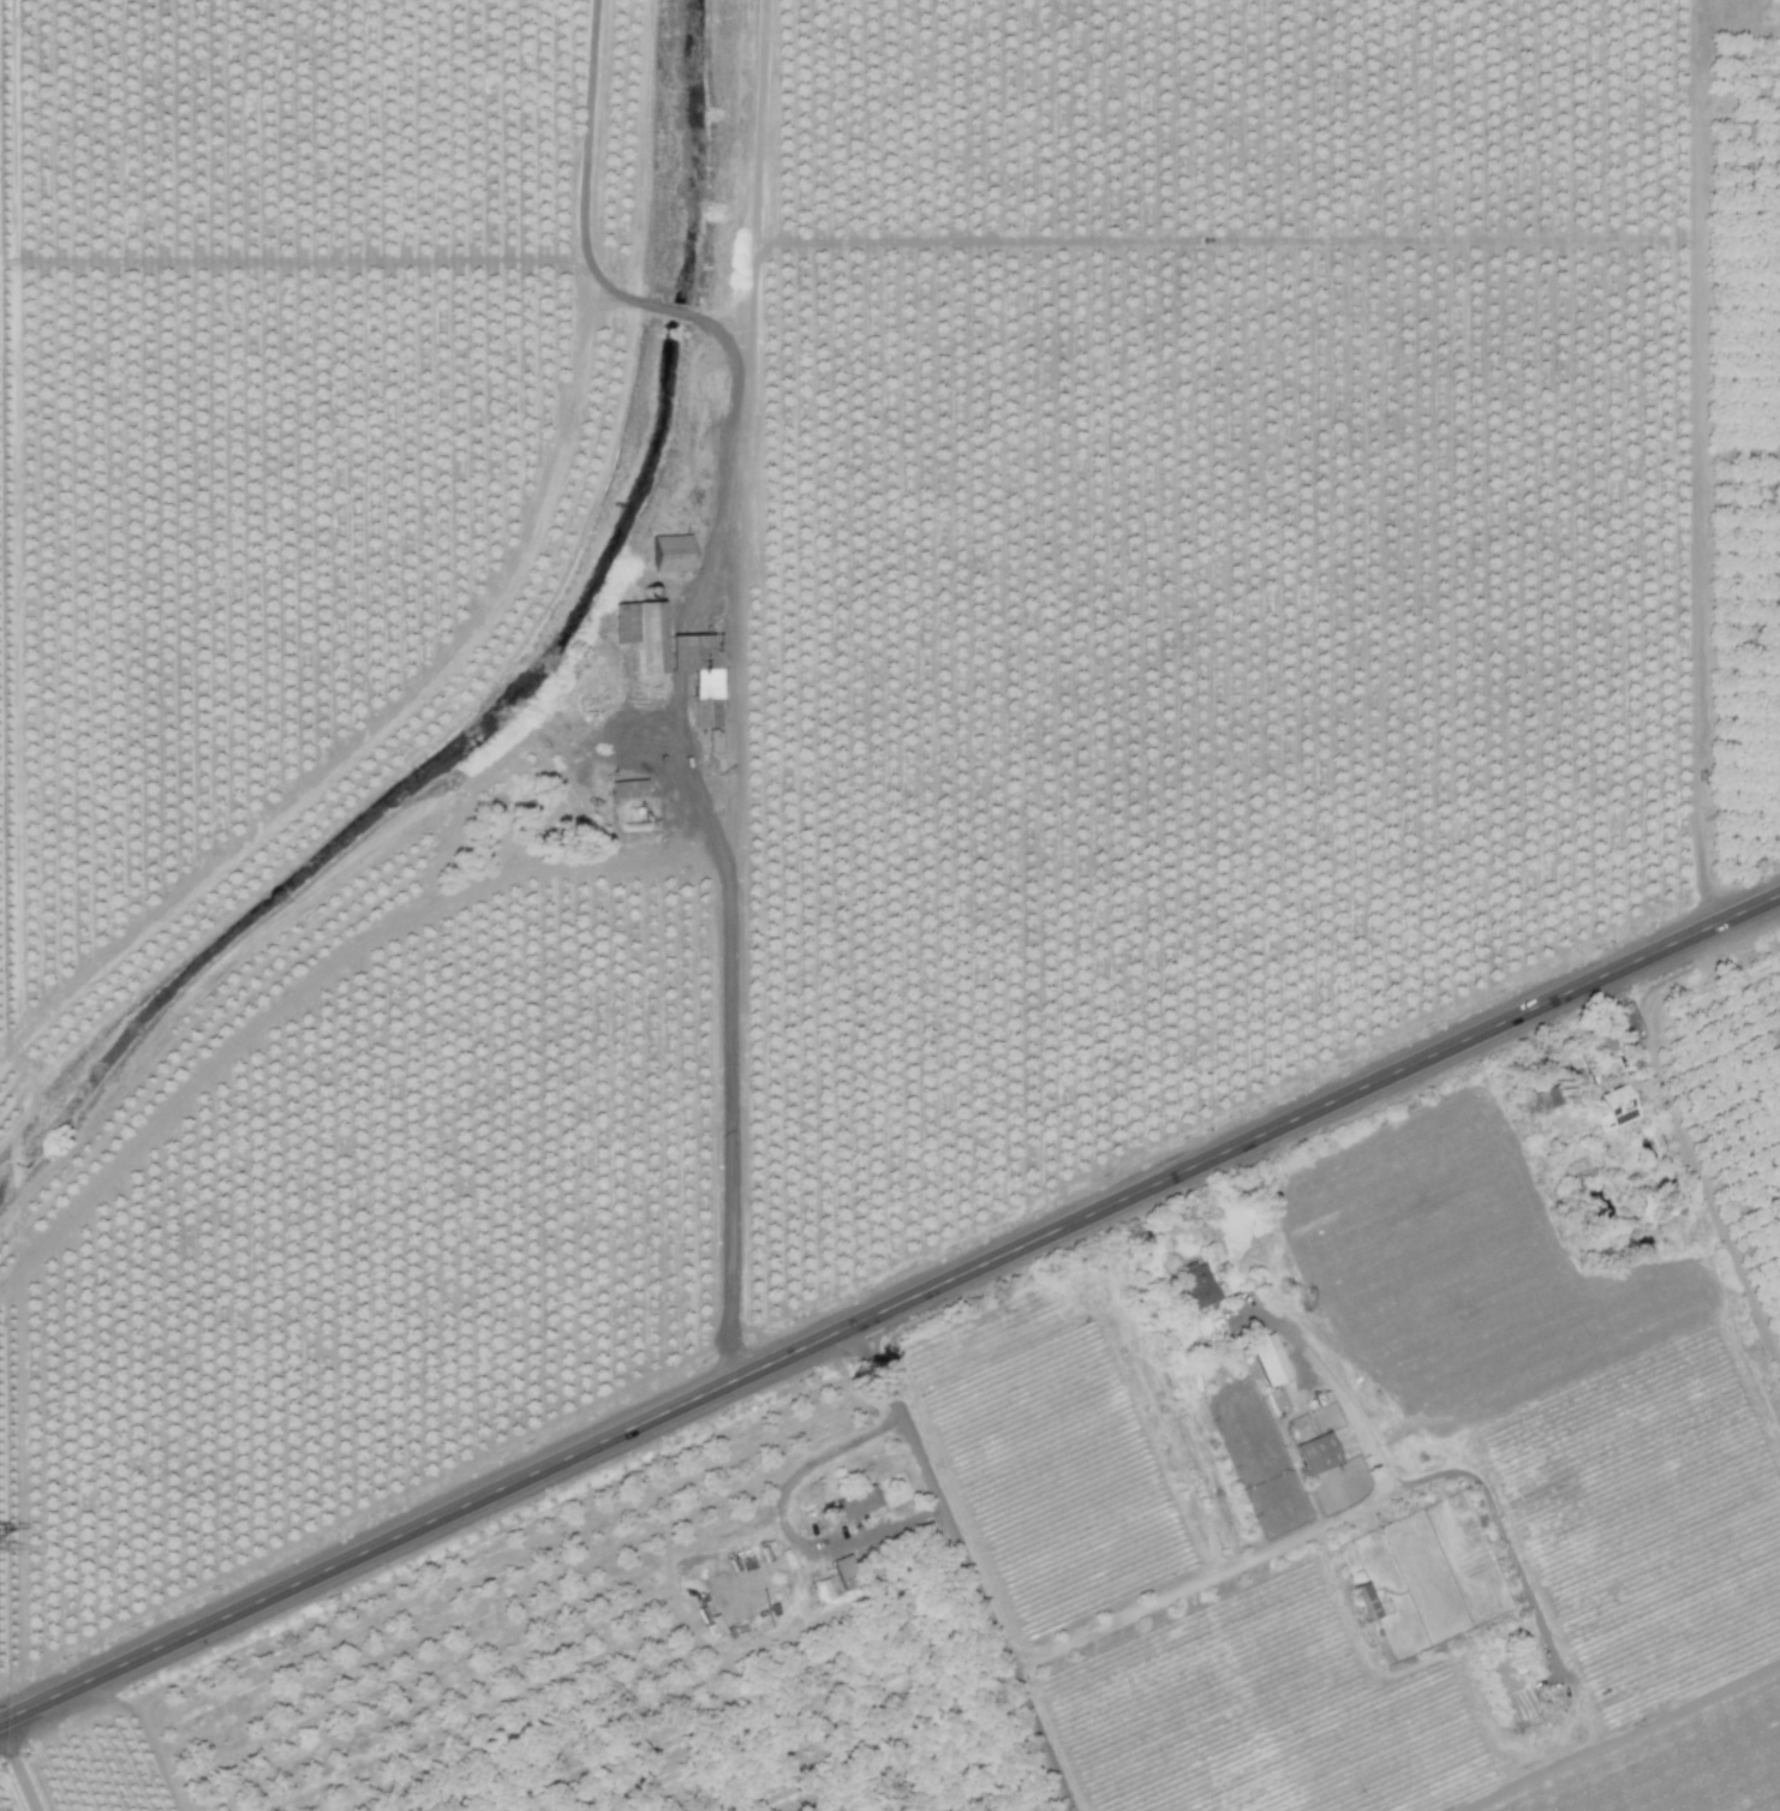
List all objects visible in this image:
building: (1778, 234)
building: (664, 552)
building: (669, 656)
building: (623, 789)
road: (718, 1063)
building: (1541, 1101)
building: (1612, 1108)
building: (1670, 1205)
building: (1191, 1285)
road: (889, 1304)
building: (1266, 1358)
road: (1337, 1392)
building: (1314, 1453)
building: (853, 1502)
road: (1338, 1516)
road: (781, 1523)
road: (969, 1562)
building: (1363, 1601)
road: (1620, 1737)
road: (18, 1768)

